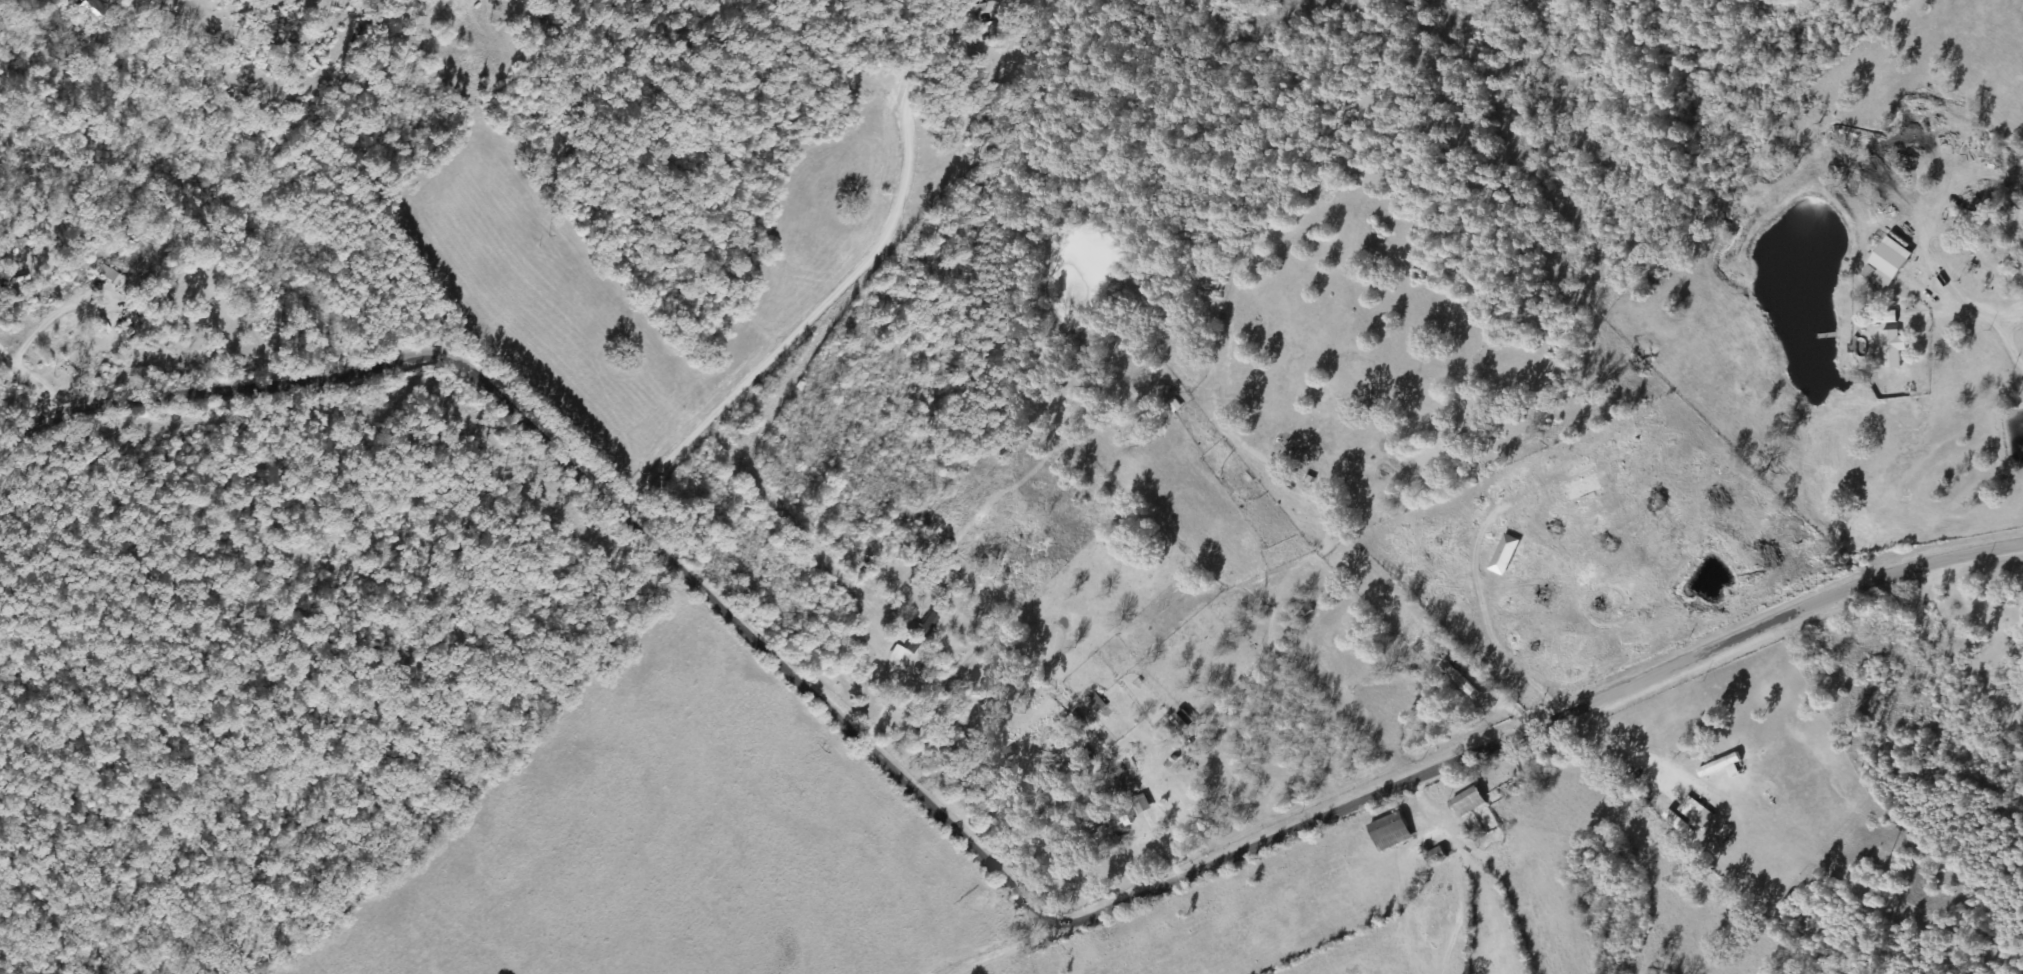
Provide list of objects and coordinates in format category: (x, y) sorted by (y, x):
building: (11, 244)
building: (1979, 254)
building: (1883, 266)
building: (154, 305)
building: (1886, 353)
road: (19, 416)
building: (1578, 489)
road: (898, 653)
building: (1459, 676)
building: (1097, 703)
building: (1719, 767)
building: (1464, 804)
building: (1693, 814)
building: (1111, 829)
building: (1387, 833)
building: (1433, 857)
road: (951, 865)
road: (1454, 873)

